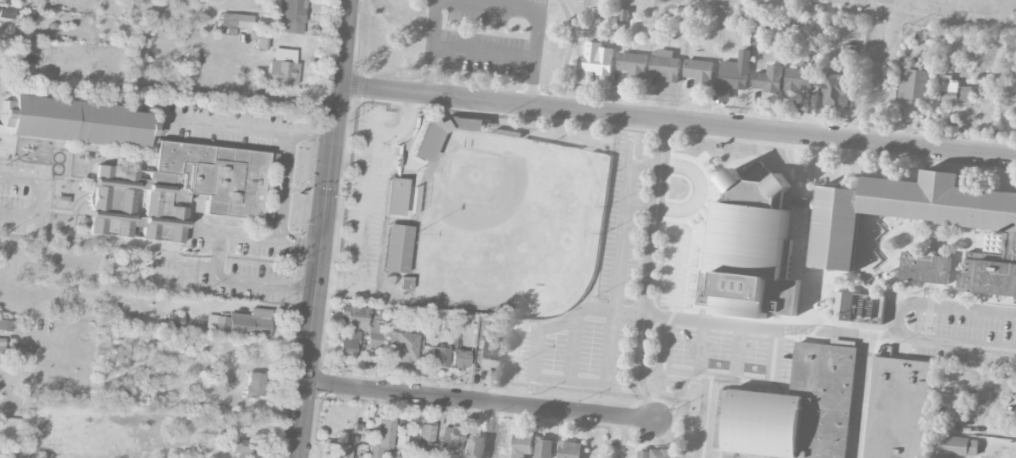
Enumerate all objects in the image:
road: (501, 4)
park: (909, 10)
building: (6, 14)
building: (290, 15)
building: (235, 21)
parking lot: (486, 35)
park: (476, 40)
building: (259, 41)
road: (569, 45)
building: (814, 45)
road: (433, 46)
road: (483, 51)
road: (531, 56)
building: (597, 58)
building: (633, 64)
building: (666, 65)
building: (282, 66)
building: (699, 71)
building: (733, 76)
building: (582, 77)
building: (799, 78)
building: (768, 79)
building: (914, 84)
building: (837, 91)
building: (954, 92)
building: (1008, 97)
road: (678, 120)
building: (73, 122)
road: (232, 126)
road: (312, 134)
building: (426, 140)
building: (733, 179)
building: (780, 185)
building: (182, 191)
road: (367, 193)
building: (394, 197)
road: (35, 198)
building: (804, 202)
road: (639, 206)
road: (280, 208)
building: (906, 212)
road: (324, 229)
building: (396, 249)
road: (680, 258)
building: (753, 261)
building: (925, 268)
road: (647, 272)
road: (219, 277)
building: (988, 278)
building: (404, 284)
building: (843, 306)
road: (946, 307)
building: (351, 317)
building: (173, 321)
road: (559, 321)
building: (241, 324)
building: (5, 326)
road: (799, 327)
building: (373, 337)
road: (953, 343)
building: (346, 345)
building: (402, 346)
building: (1, 348)
building: (15, 353)
building: (487, 353)
building: (438, 357)
building: (459, 360)
road: (701, 361)
road: (669, 372)
building: (254, 385)
road: (860, 395)
road: (483, 402)
building: (896, 408)
building: (796, 409)
building: (380, 437)
building: (425, 439)
building: (451, 439)
building: (399, 442)
building: (521, 445)
building: (243, 446)
building: (953, 446)
building: (475, 447)
road: (1007, 447)
building: (543, 448)
building: (569, 450)
building: (336, 451)
building: (655, 453)
building: (396, 457)

